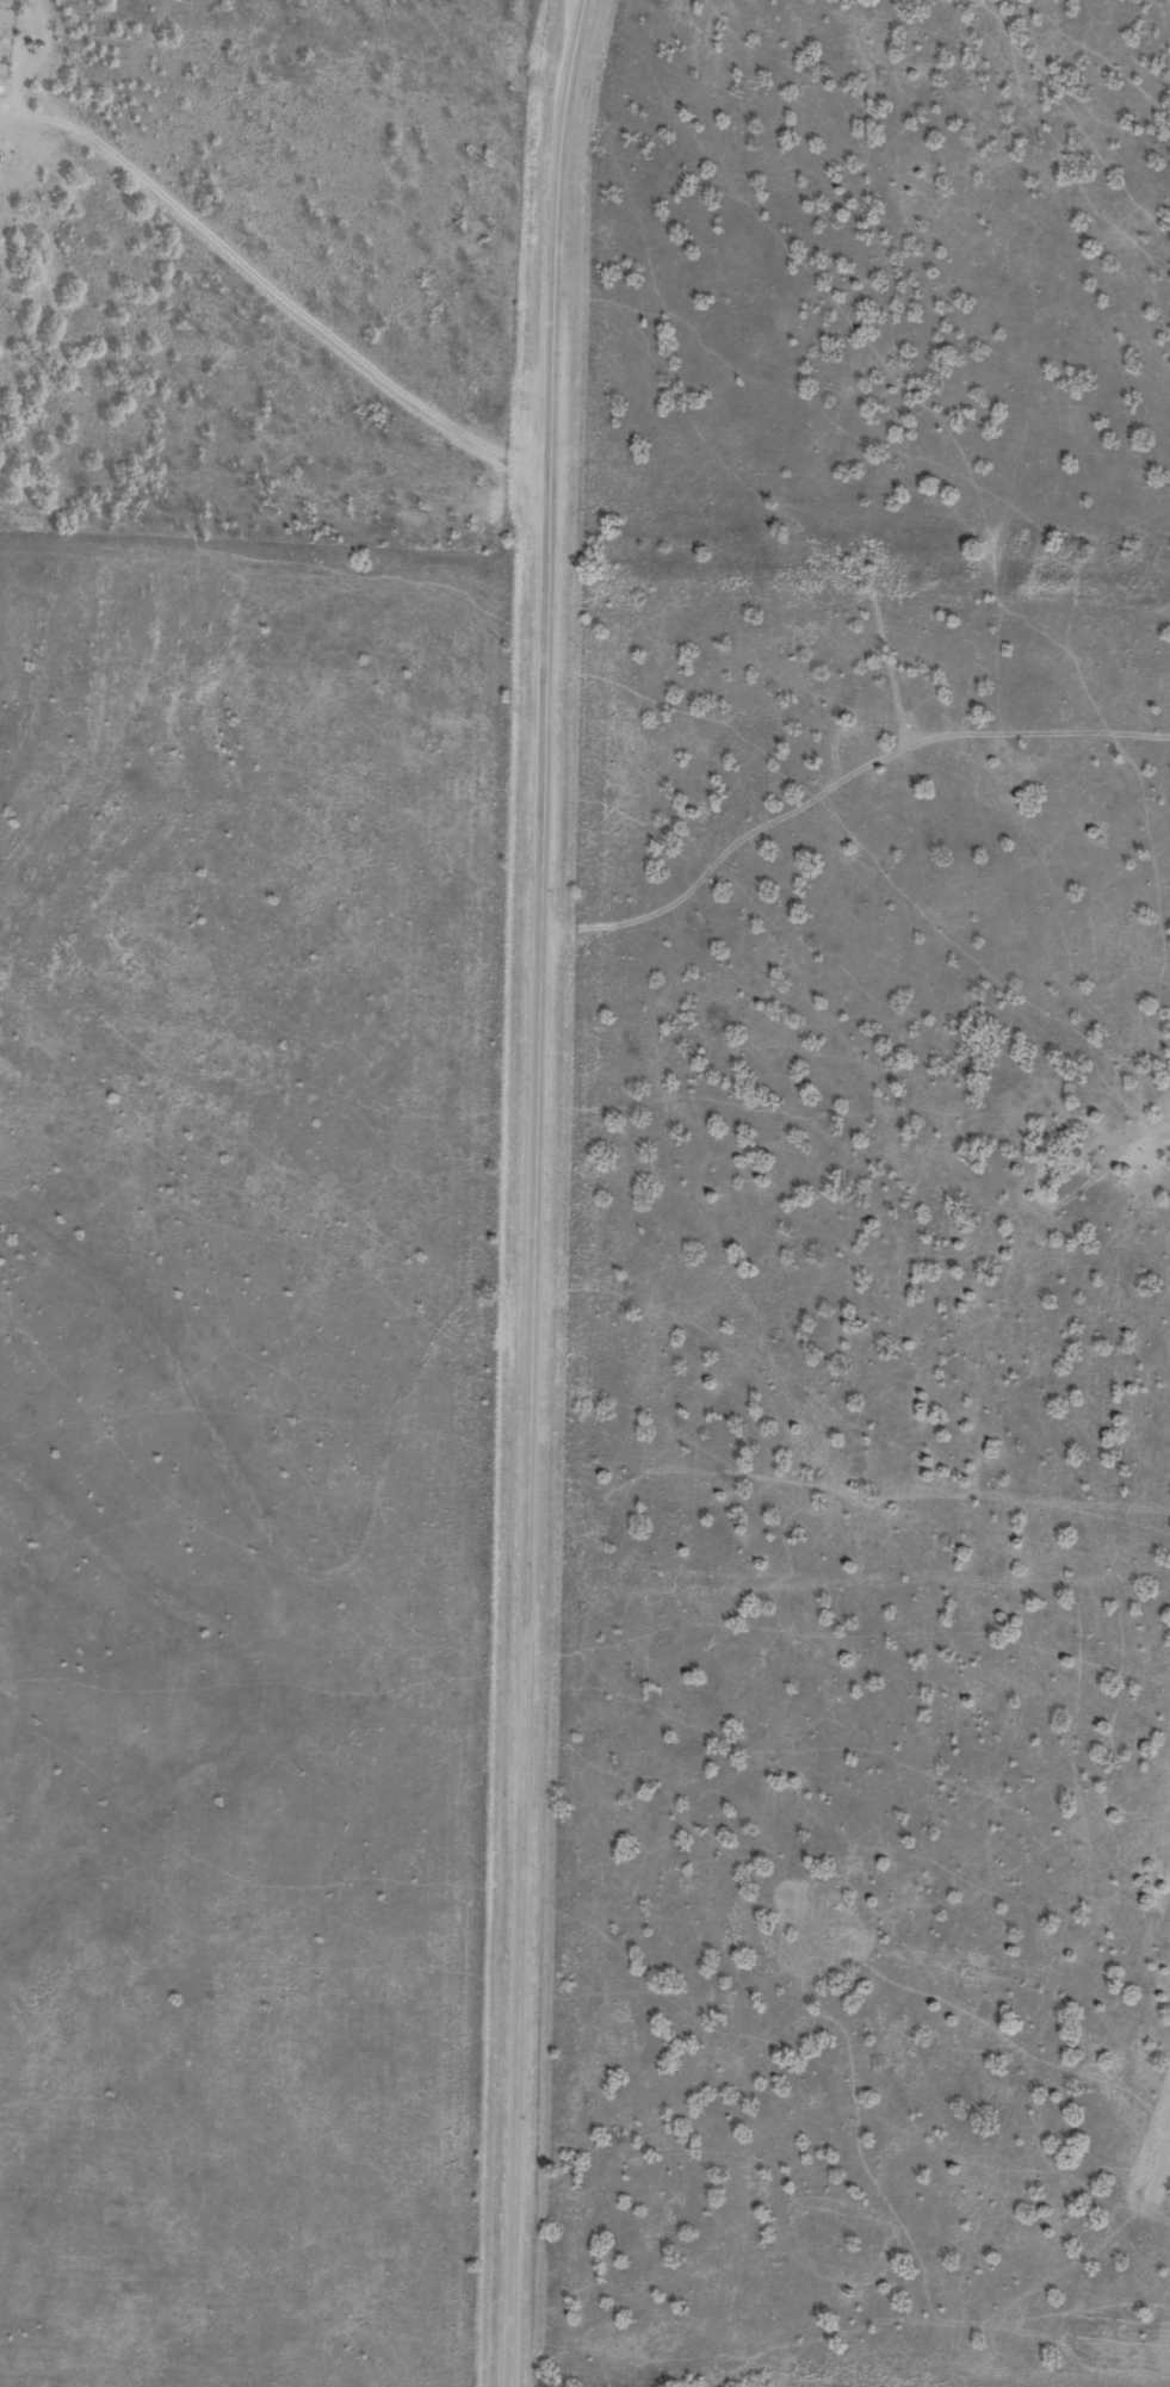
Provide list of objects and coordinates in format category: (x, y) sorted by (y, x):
road: (270, 265)
road: (536, 1192)

